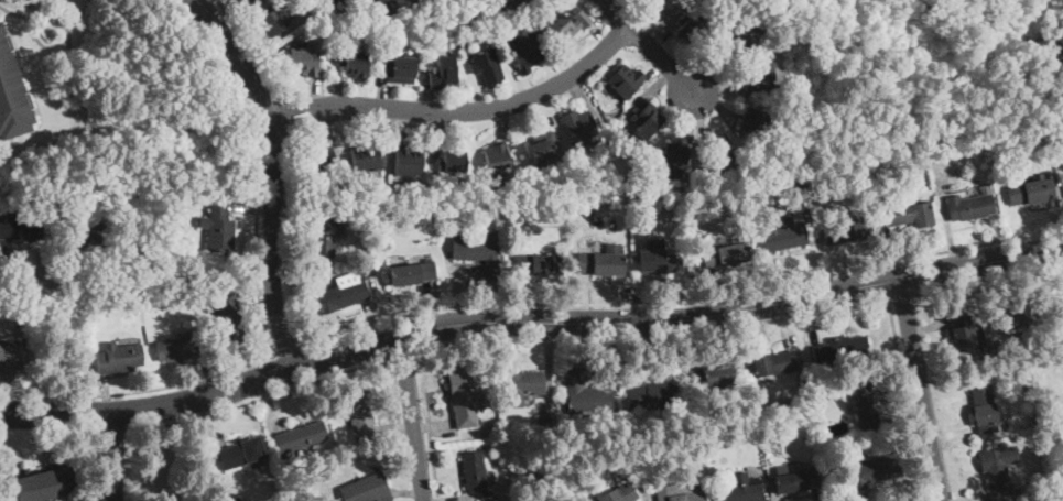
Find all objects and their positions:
building: (249, 0)
building: (334, 1)
building: (343, 1)
building: (421, 1)
building: (435, 1)
building: (653, 1)
building: (513, 2)
building: (381, 6)
building: (272, 22)
building: (567, 25)
building: (690, 29)
building: (741, 34)
road: (648, 46)
road: (256, 47)
building: (527, 53)
building: (63, 59)
building: (303, 61)
building: (356, 64)
building: (487, 66)
building: (401, 70)
building: (443, 73)
building: (759, 76)
building: (625, 80)
building: (10, 97)
road: (459, 111)
road: (285, 118)
building: (647, 120)
building: (755, 121)
building: (578, 126)
building: (543, 146)
building: (722, 154)
building: (367, 156)
building: (497, 159)
building: (322, 161)
building: (408, 161)
building: (453, 161)
building: (674, 161)
road: (289, 170)
road: (273, 174)
building: (1031, 192)
building: (802, 193)
building: (175, 204)
building: (970, 207)
building: (133, 209)
building: (586, 210)
building: (442, 213)
building: (911, 215)
building: (20, 227)
building: (218, 229)
building: (849, 230)
building: (91, 232)
building: (325, 232)
building: (787, 235)
building: (478, 253)
building: (726, 253)
building: (659, 259)
building: (600, 262)
building: (540, 263)
building: (368, 271)
building: (413, 273)
road: (256, 275)
building: (84, 277)
road: (989, 281)
building: (340, 293)
road: (903, 298)
road: (683, 301)
building: (1022, 315)
building: (230, 317)
road: (679, 320)
building: (962, 335)
building: (160, 336)
road: (654, 340)
road: (63, 347)
building: (178, 348)
building: (840, 349)
road: (289, 351)
road: (402, 353)
building: (10, 357)
building: (119, 358)
building: (772, 364)
building: (717, 374)
building: (696, 385)
building: (1030, 385)
building: (522, 386)
building: (821, 390)
road: (921, 390)
road: (140, 393)
building: (584, 393)
building: (654, 396)
road: (259, 400)
road: (909, 400)
building: (465, 401)
building: (866, 406)
road: (150, 410)
building: (985, 411)
building: (798, 413)
building: (361, 414)
road: (412, 417)
road: (427, 424)
building: (543, 425)
building: (764, 428)
building: (838, 428)
building: (1041, 435)
building: (303, 436)
building: (714, 448)
building: (242, 453)
road: (115, 456)
building: (832, 466)
building: (998, 466)
building: (874, 470)
building: (476, 472)
building: (795, 479)
building: (291, 480)
building: (45, 484)
building: (367, 489)
building: (741, 489)
building: (1016, 490)
building: (679, 492)
building: (617, 493)
building: (235, 498)
road: (930, 500)

